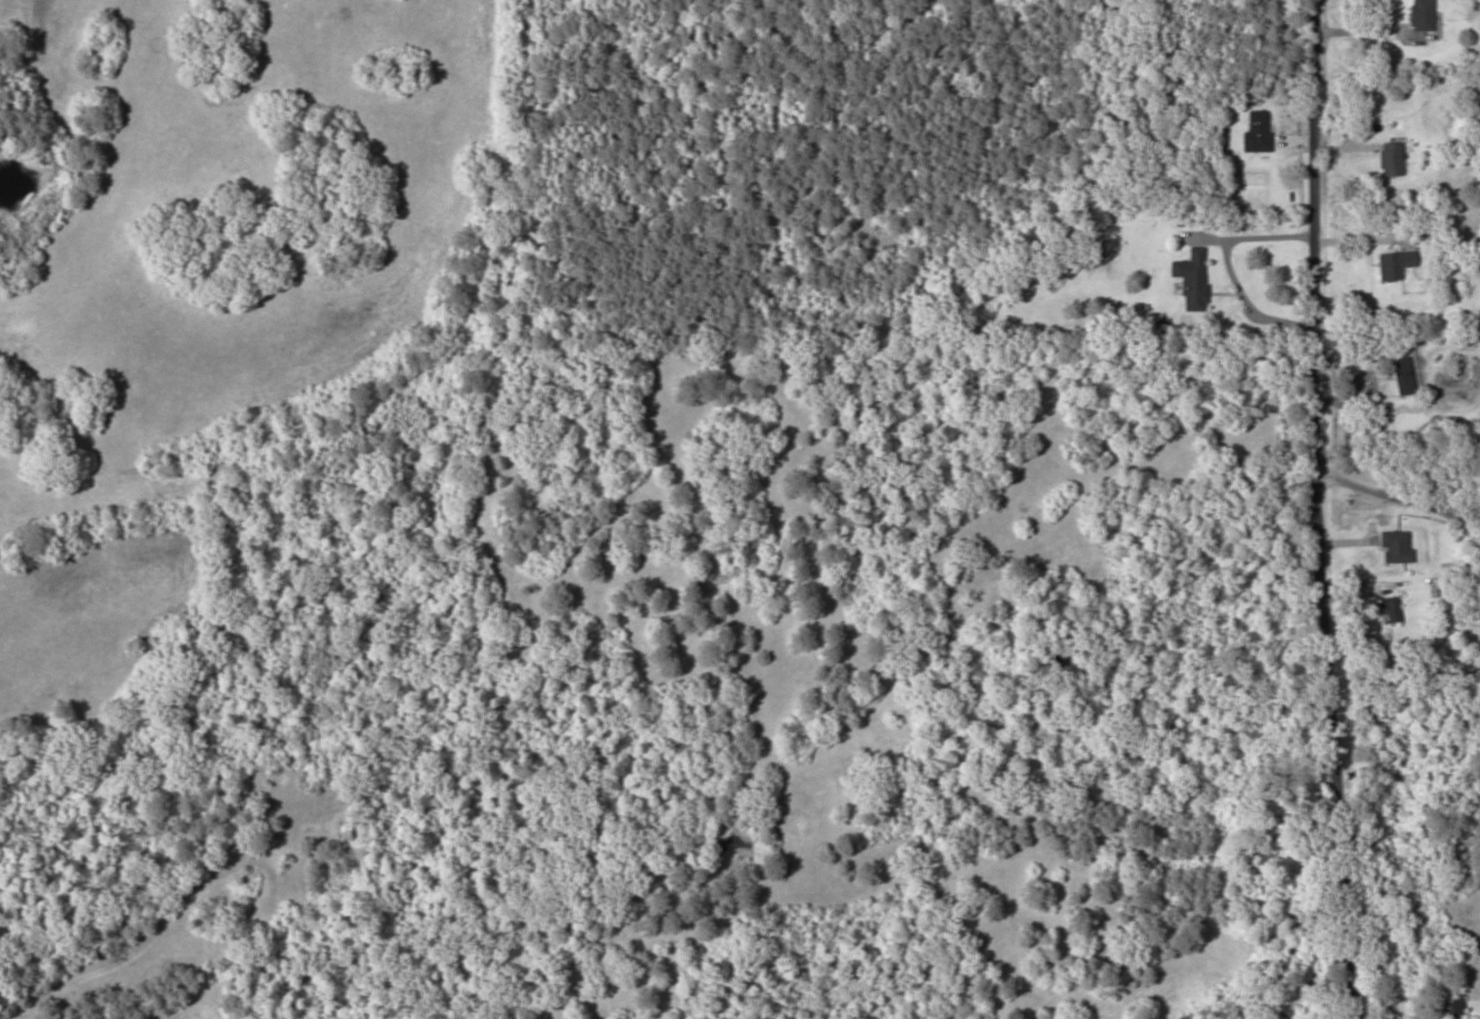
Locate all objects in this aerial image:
building: (1421, 14)
building: (1256, 131)
building: (1389, 159)
building: (1393, 264)
building: (1191, 278)
building: (1401, 375)
road: (1323, 510)
building: (1389, 609)
building: (1446, 1004)

